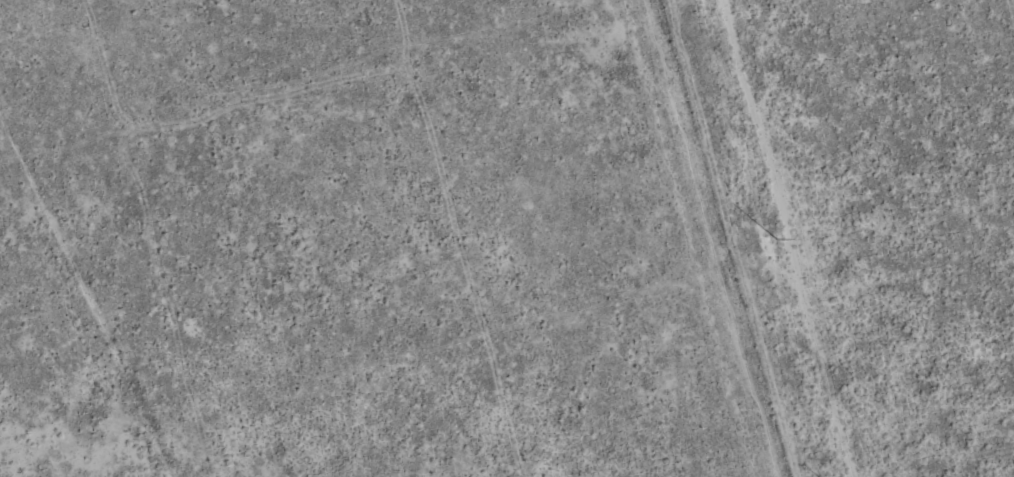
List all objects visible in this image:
power tower: (773, 237)

